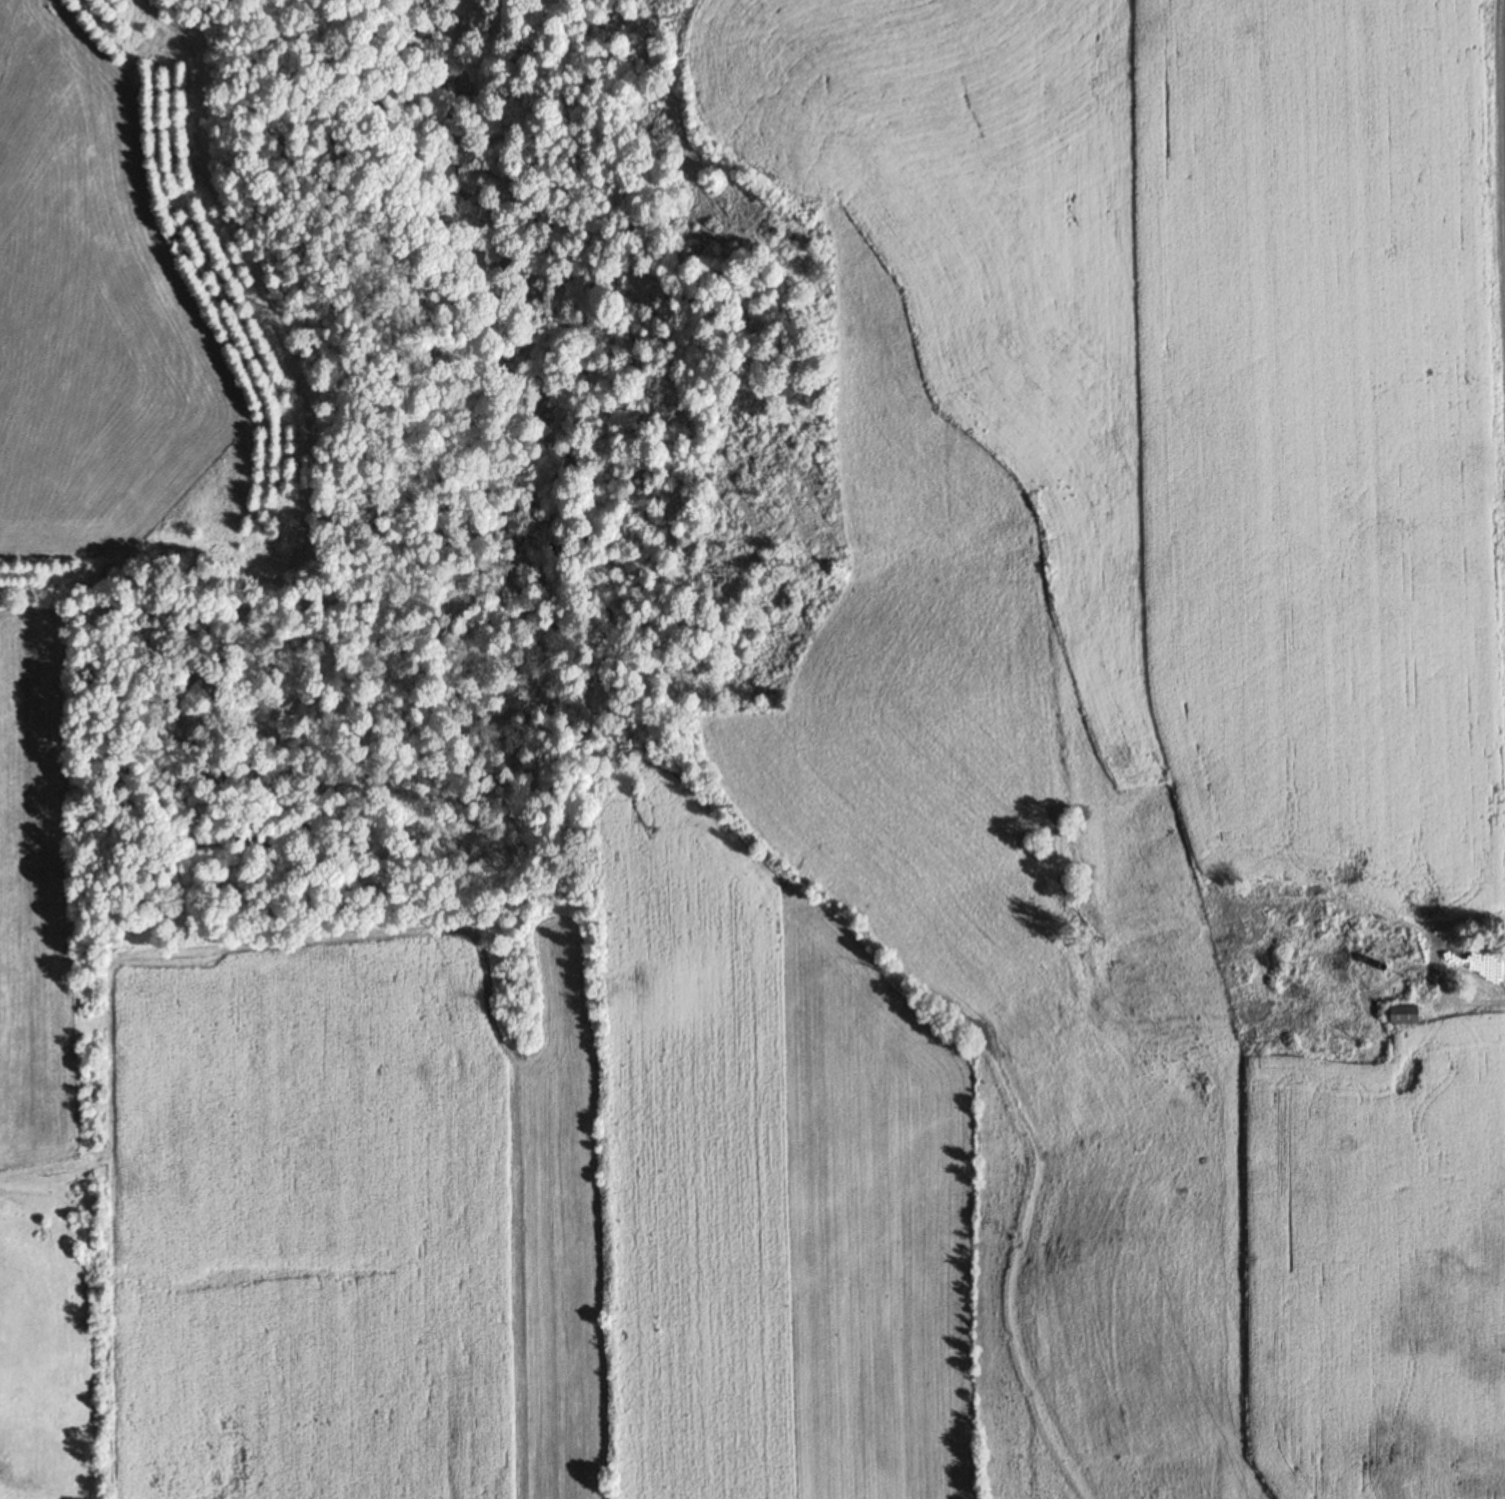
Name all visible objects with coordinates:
building: (1406, 1015)

